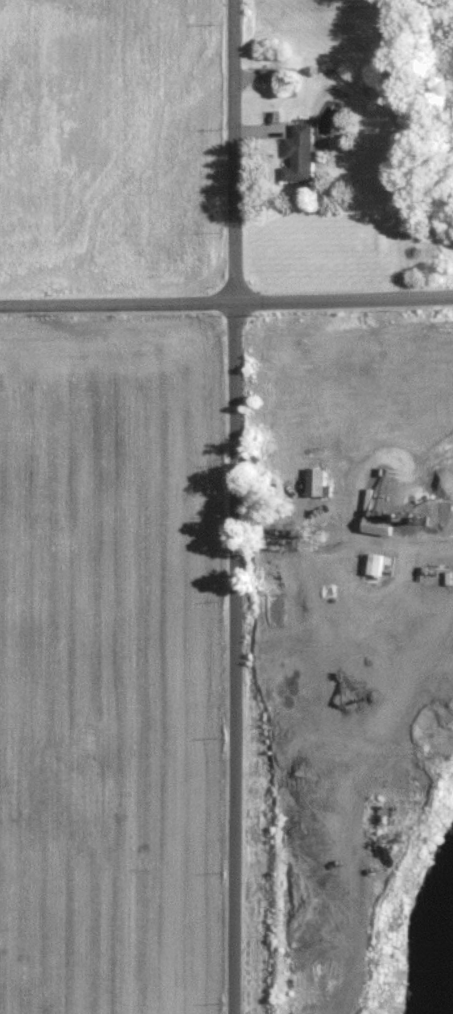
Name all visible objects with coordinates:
crop: (110, 144)
road: (232, 152)
building: (297, 154)
road: (226, 304)
building: (441, 466)
building: (314, 482)
road: (236, 658)
quarry: (348, 661)
crop: (109, 664)

